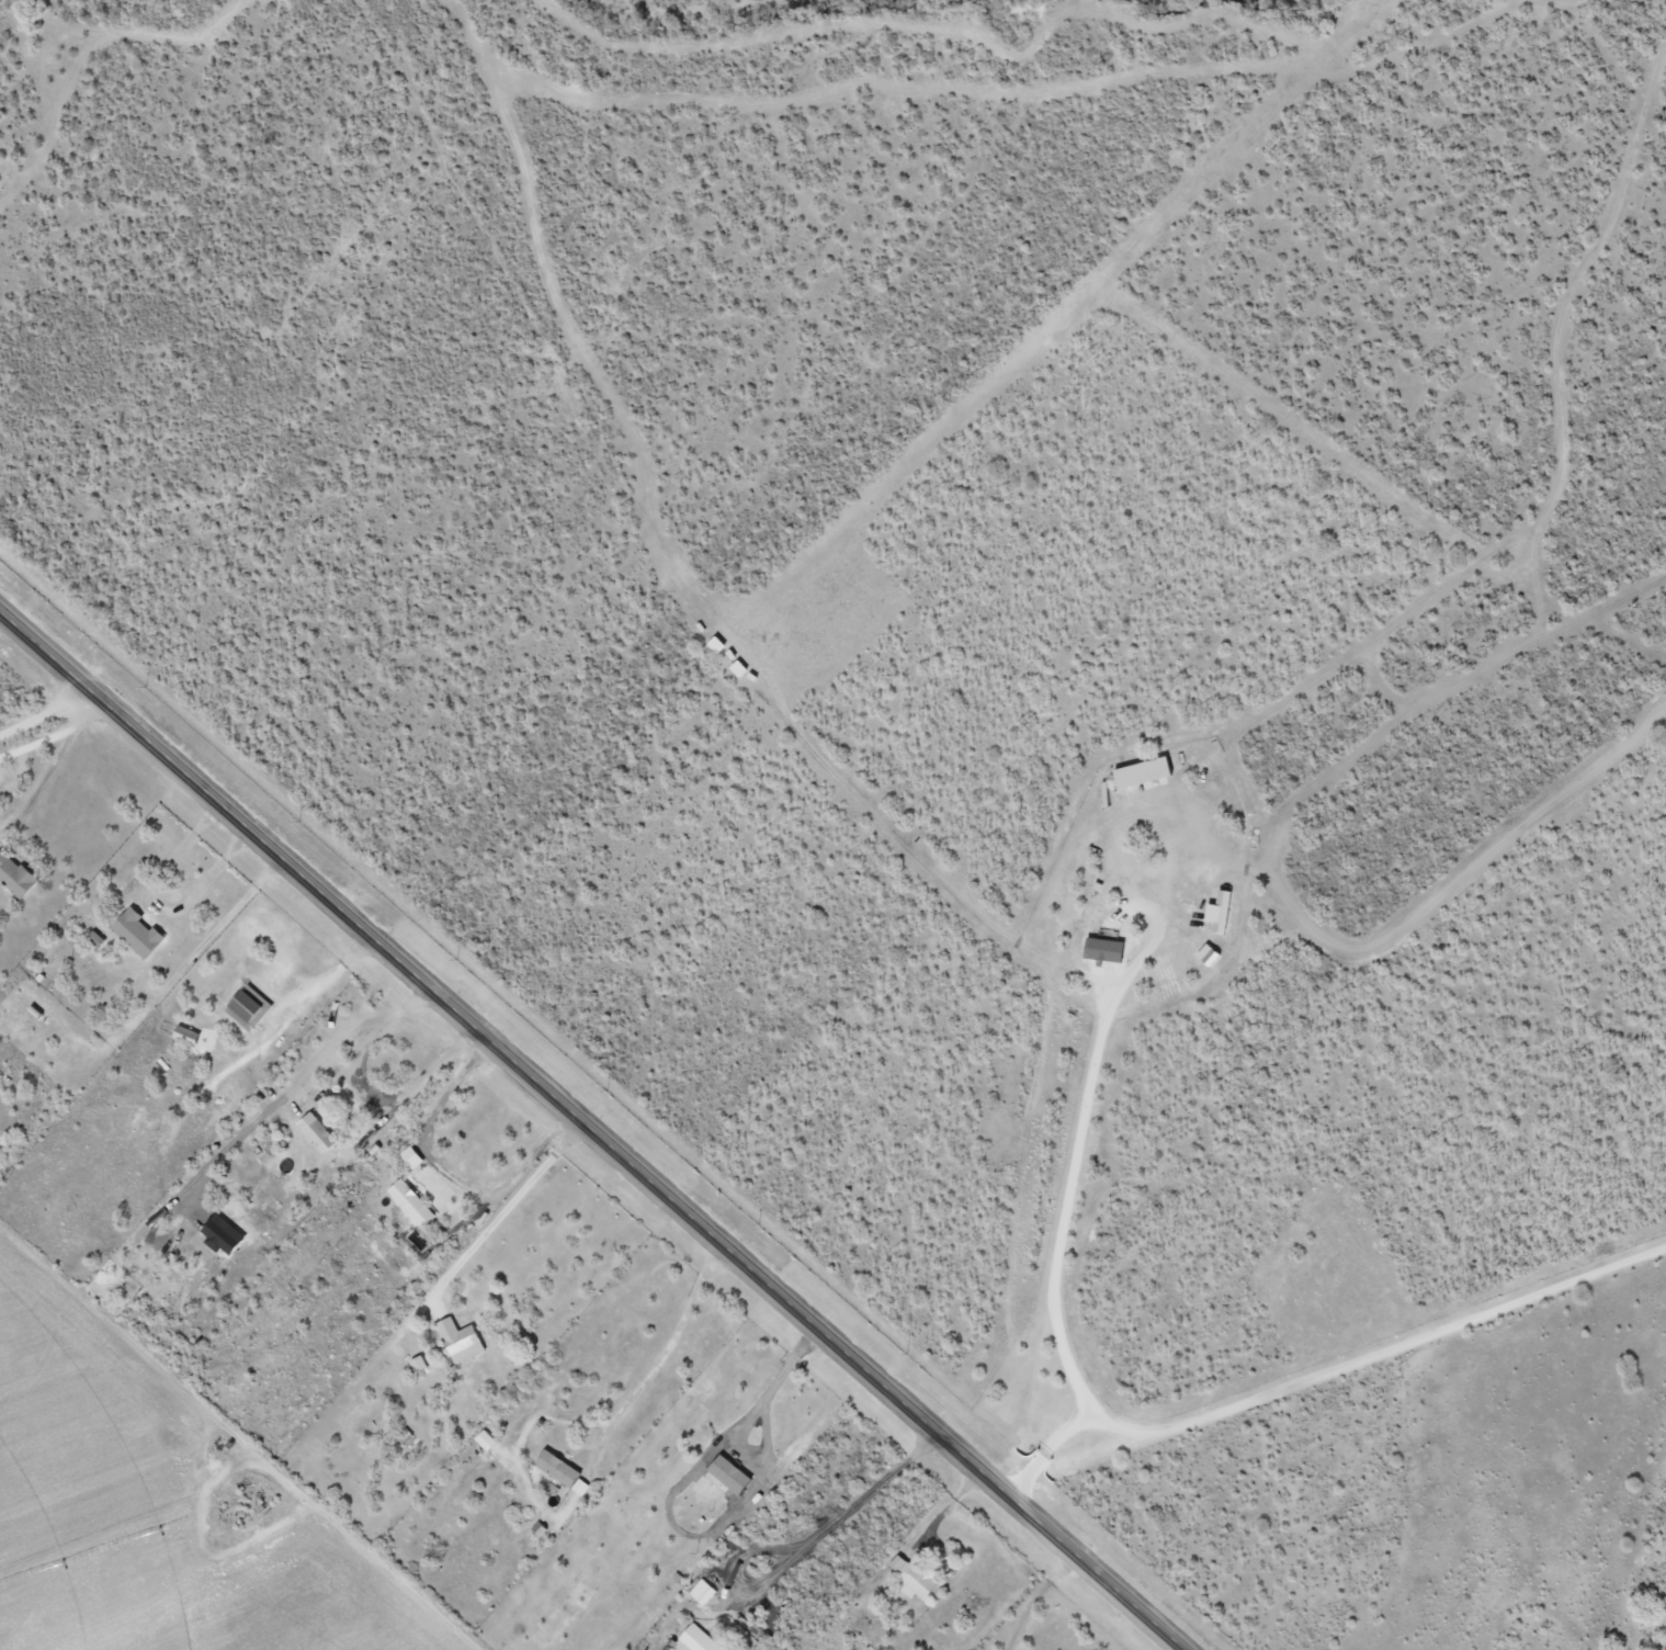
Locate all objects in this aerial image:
road: (1338, 781)
road: (82, 790)
building: (13, 878)
building: (1103, 930)
building: (134, 934)
building: (241, 1008)
railway: (642, 1078)
road: (596, 1127)
building: (314, 1133)
building: (407, 1203)
building: (1235, 1340)
building: (457, 1342)
building: (557, 1472)
building: (911, 1581)
building: (699, 1593)
building: (694, 1640)

